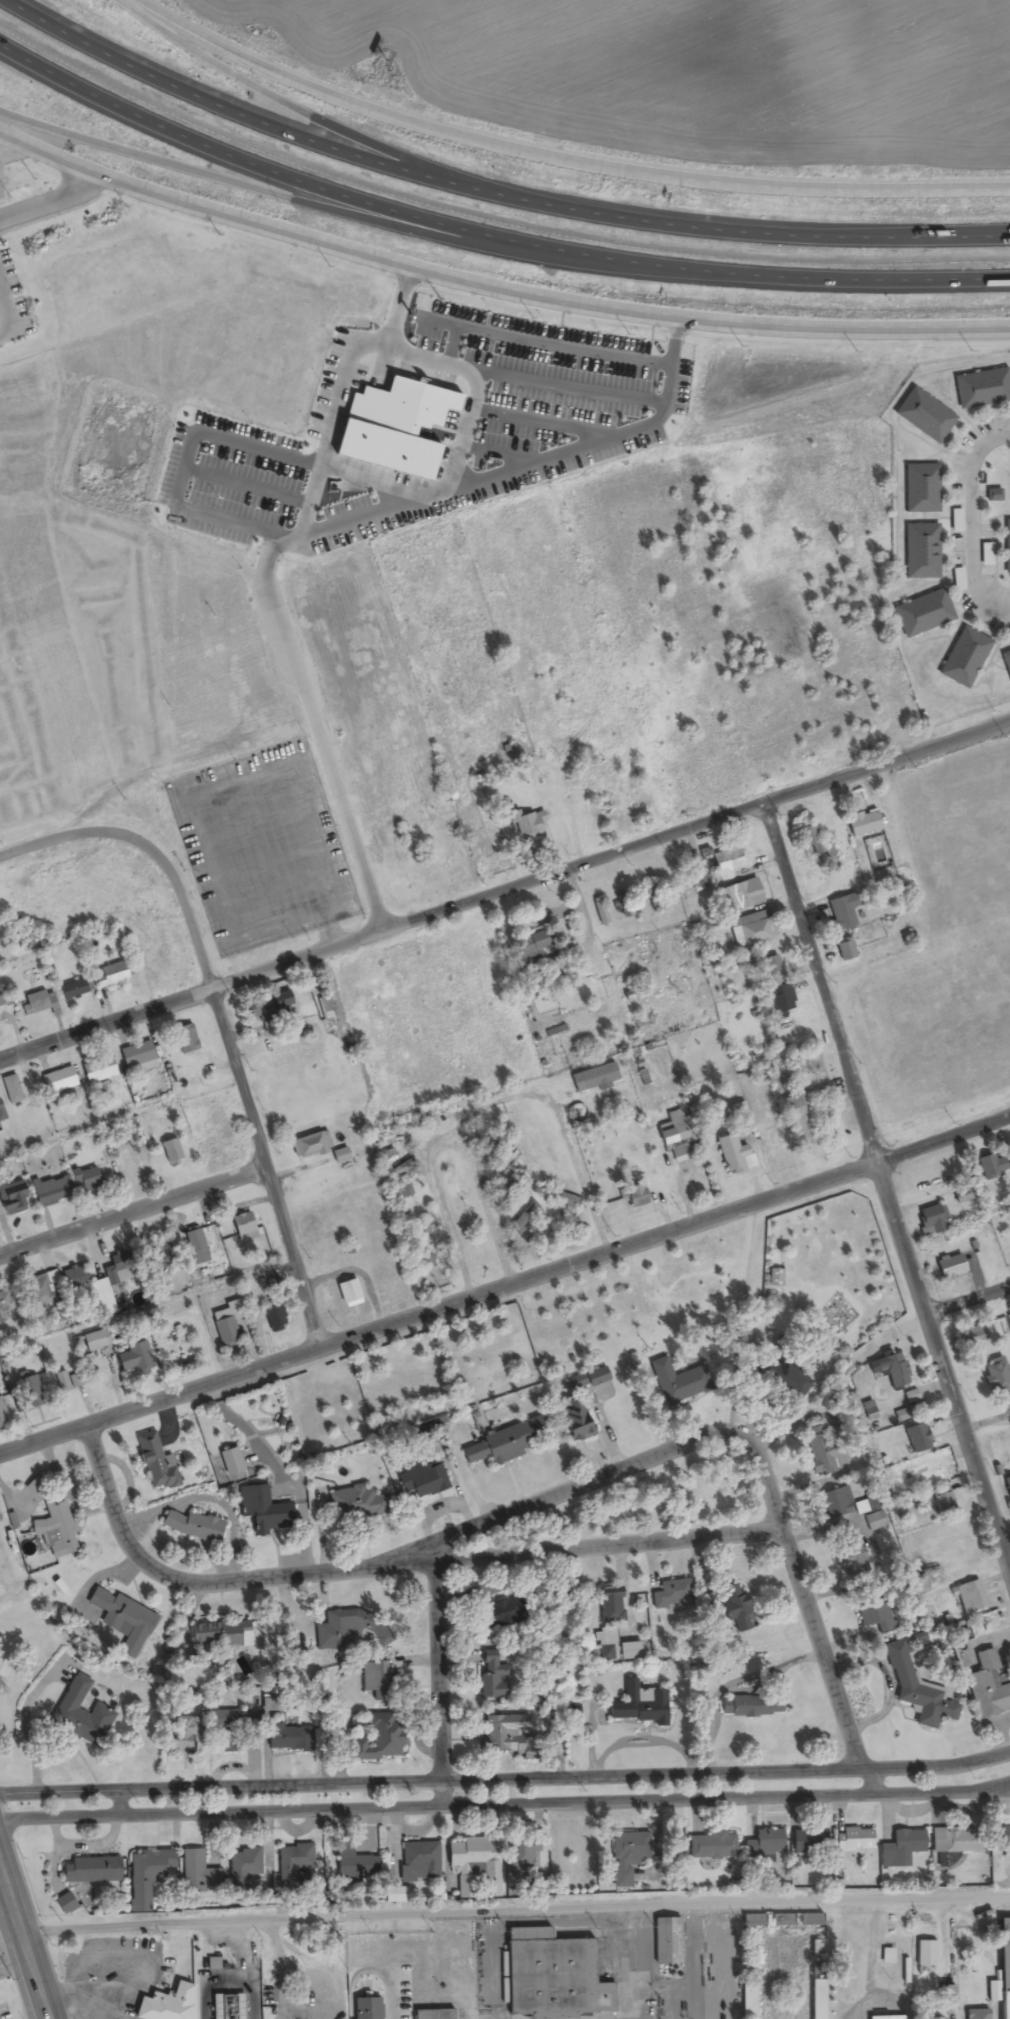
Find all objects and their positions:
road: (298, 109)
road: (239, 115)
road: (0, 136)
road: (556, 160)
road: (243, 163)
road: (249, 188)
road: (51, 204)
road: (748, 234)
road: (755, 277)
road: (494, 289)
road: (0, 302)
road: (7, 320)
building: (983, 380)
building: (928, 407)
building: (923, 480)
building: (992, 496)
building: (955, 521)
road: (972, 524)
building: (1007, 538)
building: (923, 543)
building: (925, 605)
building: (966, 650)
building: (1006, 654)
building: (622, 803)
building: (862, 823)
building: (809, 838)
road: (49, 846)
building: (439, 857)
building: (727, 864)
building: (700, 882)
road: (505, 889)
building: (652, 896)
building: (742, 897)
building: (694, 902)
building: (627, 908)
building: (841, 912)
building: (599, 913)
building: (750, 929)
building: (531, 948)
building: (844, 950)
building: (767, 966)
building: (110, 975)
building: (74, 989)
building: (781, 1002)
building: (36, 1003)
building: (5, 1007)
building: (264, 1009)
building: (184, 1039)
building: (135, 1055)
road: (236, 1067)
building: (96, 1070)
building: (592, 1079)
building: (57, 1081)
building: (11, 1090)
building: (800, 1120)
building: (675, 1137)
road: (443, 1138)
building: (310, 1145)
building: (171, 1151)
building: (733, 1155)
building: (990, 1166)
building: (393, 1173)
building: (84, 1180)
building: (509, 1184)
road: (886, 1188)
building: (403, 1191)
building: (50, 1192)
building: (635, 1195)
building: (12, 1198)
road: (133, 1210)
building: (929, 1220)
building: (243, 1228)
building: (195, 1247)
building: (158, 1255)
building: (949, 1267)
building: (120, 1268)
road: (504, 1285)
building: (100, 1288)
building: (40, 1291)
building: (348, 1293)
road: (967, 1293)
building: (5, 1307)
road: (146, 1307)
building: (273, 1319)
building: (1009, 1320)
building: (224, 1330)
building: (974, 1335)
building: (95, 1341)
building: (134, 1360)
building: (891, 1369)
building: (784, 1378)
building: (586, 1380)
building: (67, 1382)
building: (678, 1382)
building: (29, 1393)
building: (910, 1397)
building: (2, 1415)
building: (573, 1418)
building: (916, 1438)
building: (503, 1442)
building: (819, 1450)
building: (230, 1462)
building: (155, 1464)
road: (604, 1476)
building: (421, 1479)
building: (942, 1501)
building: (835, 1503)
building: (357, 1504)
building: (262, 1510)
building: (873, 1522)
building: (192, 1527)
building: (56, 1529)
road: (1004, 1537)
building: (850, 1551)
road: (525, 1554)
building: (671, 1594)
building: (969, 1597)
building: (602, 1607)
building: (734, 1608)
building: (500, 1613)
building: (876, 1616)
building: (121, 1619)
building: (339, 1629)
building: (209, 1634)
building: (615, 1646)
building: (493, 1675)
building: (376, 1681)
road: (436, 1685)
building: (987, 1687)
building: (916, 1689)
building: (639, 1705)
building: (750, 1706)
building: (79, 1713)
building: (233, 1720)
building: (183, 1733)
building: (505, 1734)
building: (289, 1738)
building: (377, 1740)
road: (505, 1779)
road: (120, 1804)
road: (505, 1805)
building: (1002, 1837)
building: (853, 1840)
building: (807, 1841)
building: (950, 1841)
building: (764, 1843)
building: (711, 1845)
building: (900, 1848)
building: (521, 1854)
building: (627, 1855)
building: (418, 1862)
building: (474, 1864)
building: (293, 1865)
building: (354, 1865)
building: (243, 1867)
building: (90, 1871)
building: (198, 1873)
building: (146, 1876)
building: (64, 1904)
road: (517, 1914)
building: (811, 1919)
road: (24, 1933)
building: (664, 1941)
building: (816, 1947)
building: (924, 1954)
building: (885, 1957)
building: (748, 1969)
building: (816, 1969)
building: (1002, 1970)
building: (552, 1978)
building: (747, 1999)
building: (817, 1999)
building: (168, 2004)
building: (227, 2006)
road: (49, 2010)
road: (46, 2011)
building: (433, 2014)
building: (975, 2014)
road: (52, 2018)
road: (52, 2018)
building: (884, 2018)
building: (930, 2018)

